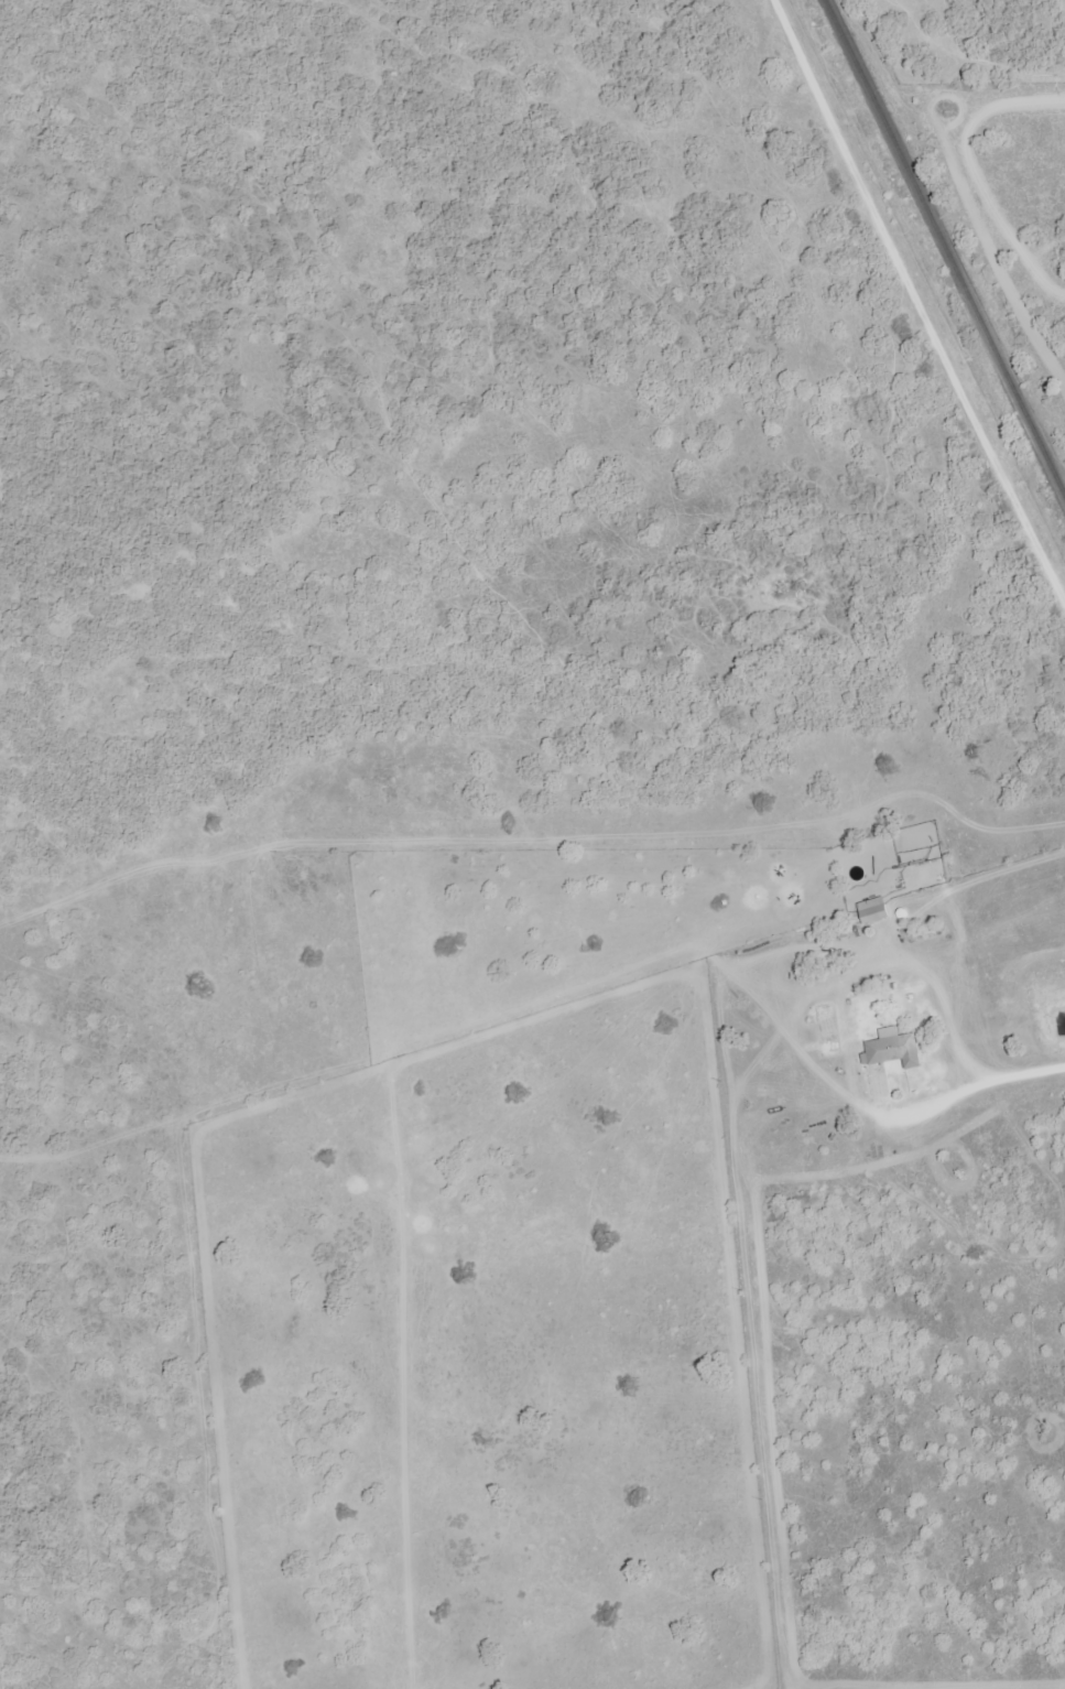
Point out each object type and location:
railway: (945, 246)
road: (916, 299)
building: (873, 909)
road: (627, 934)
building: (894, 1047)
road: (913, 1343)

